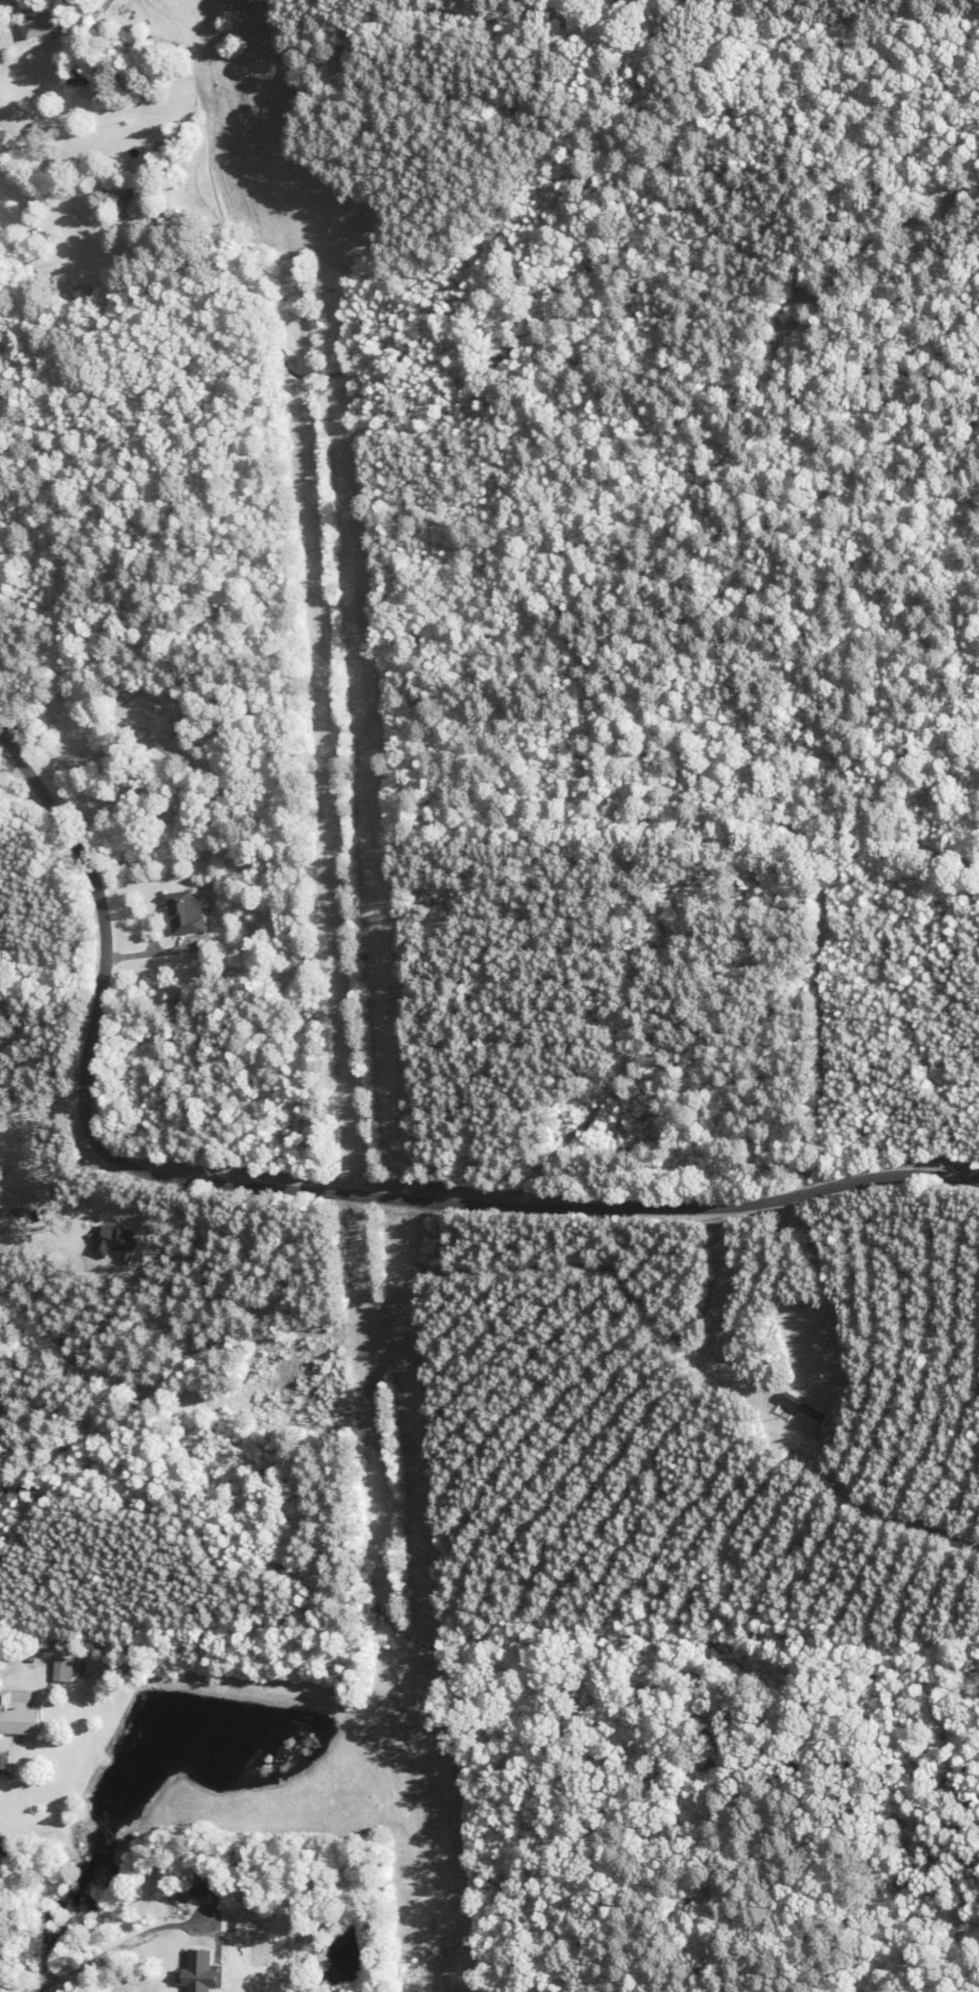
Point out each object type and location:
building: (42, 25)
building: (131, 194)
building: (89, 291)
building: (199, 697)
building: (188, 913)
road: (308, 1189)
building: (17, 1716)
building: (204, 1879)
building: (200, 1972)

